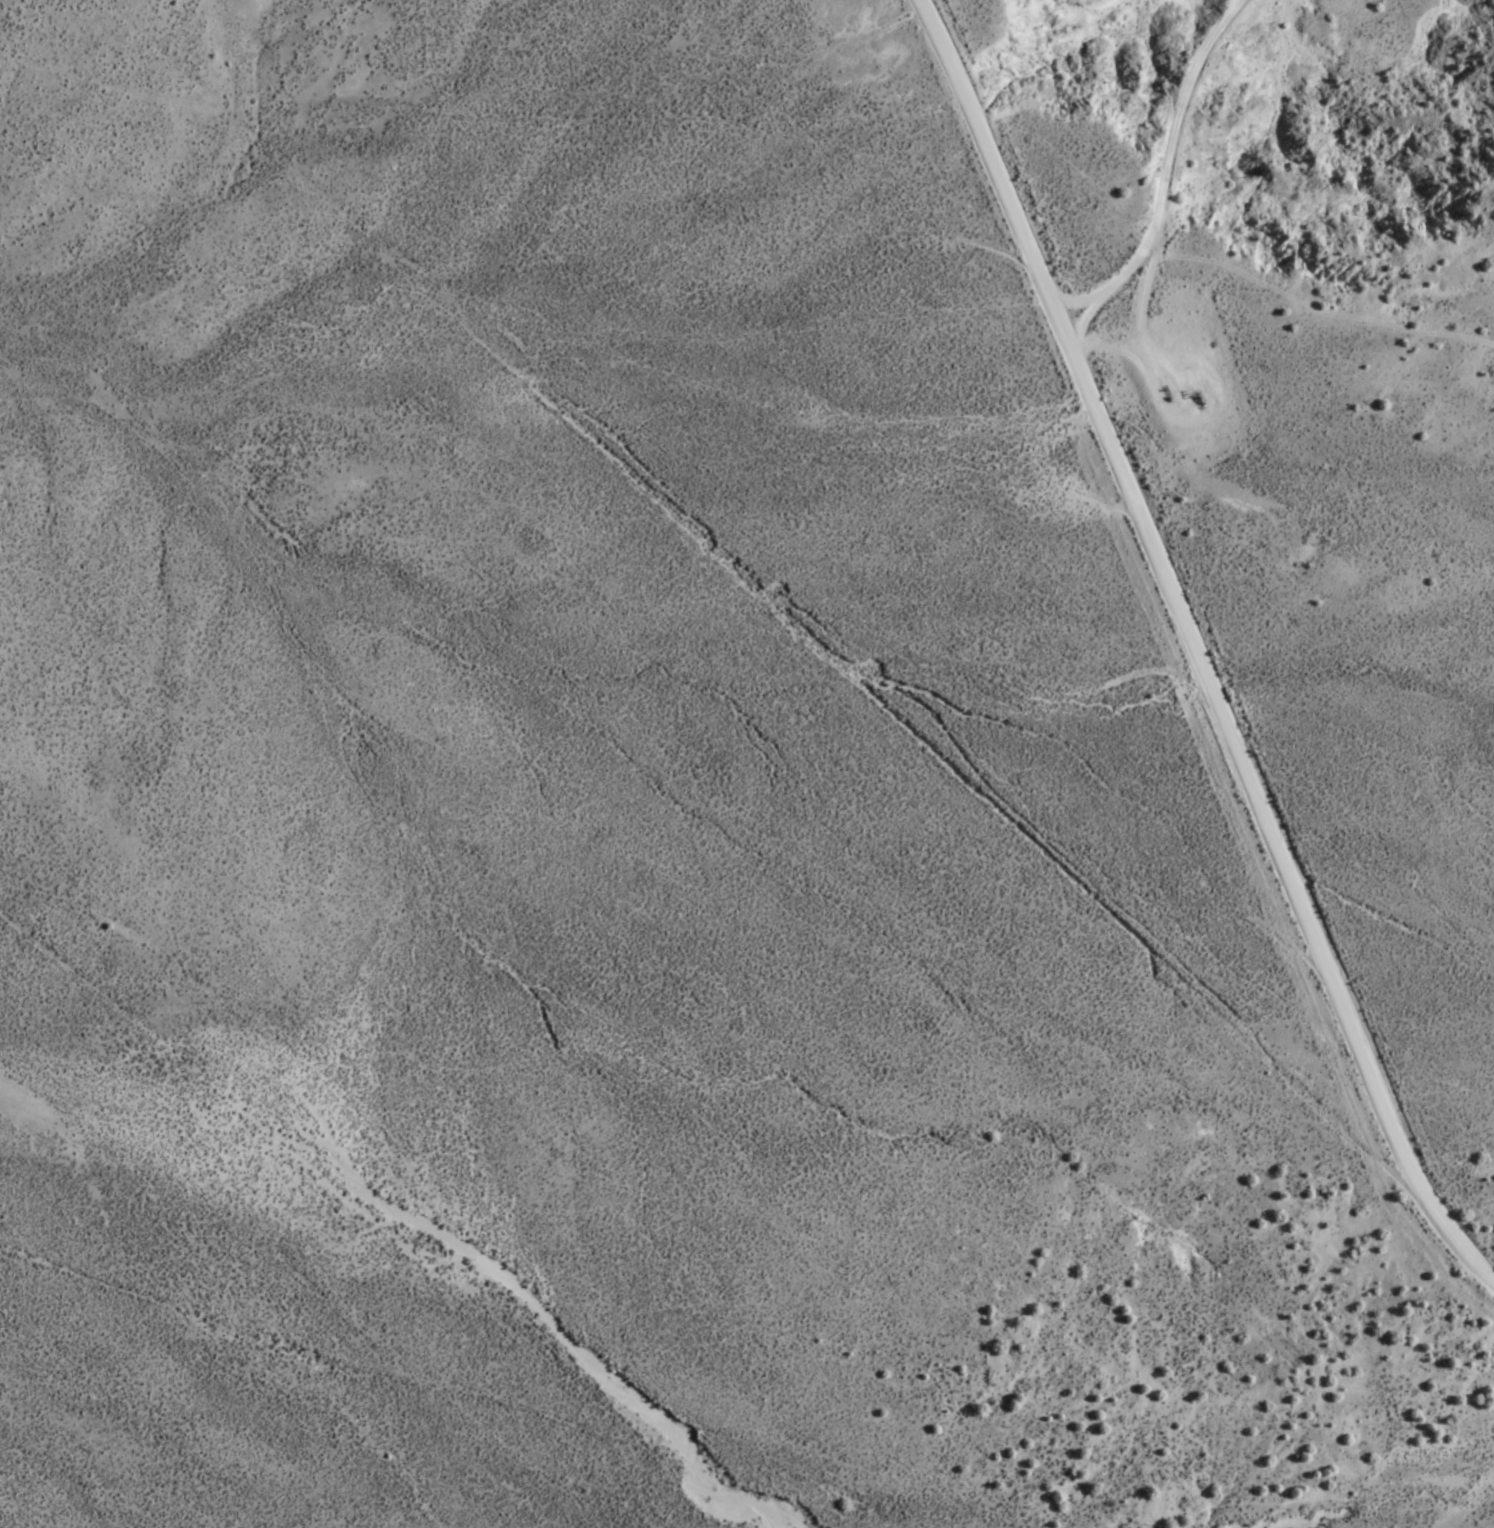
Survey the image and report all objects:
road: (1168, 176)
road: (1195, 647)

